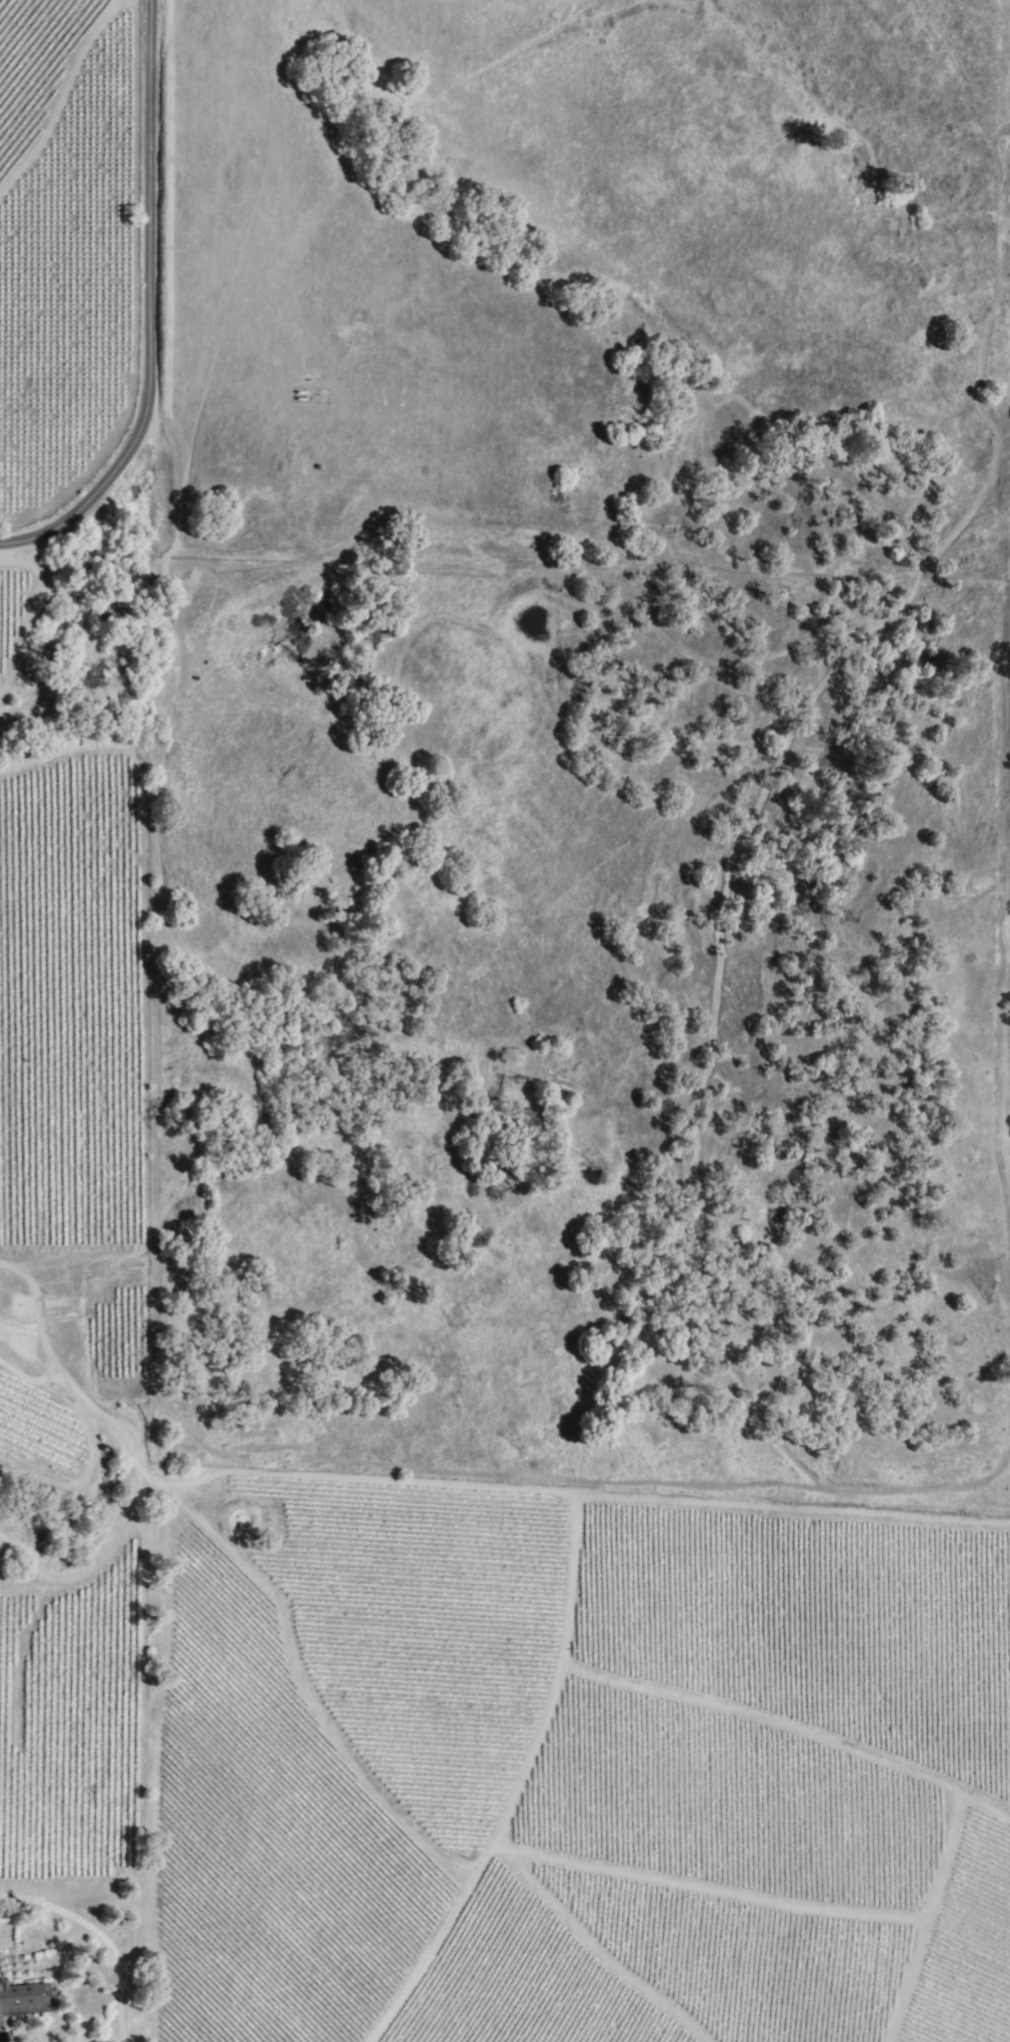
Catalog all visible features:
road: (163, 330)
building: (21, 1995)

